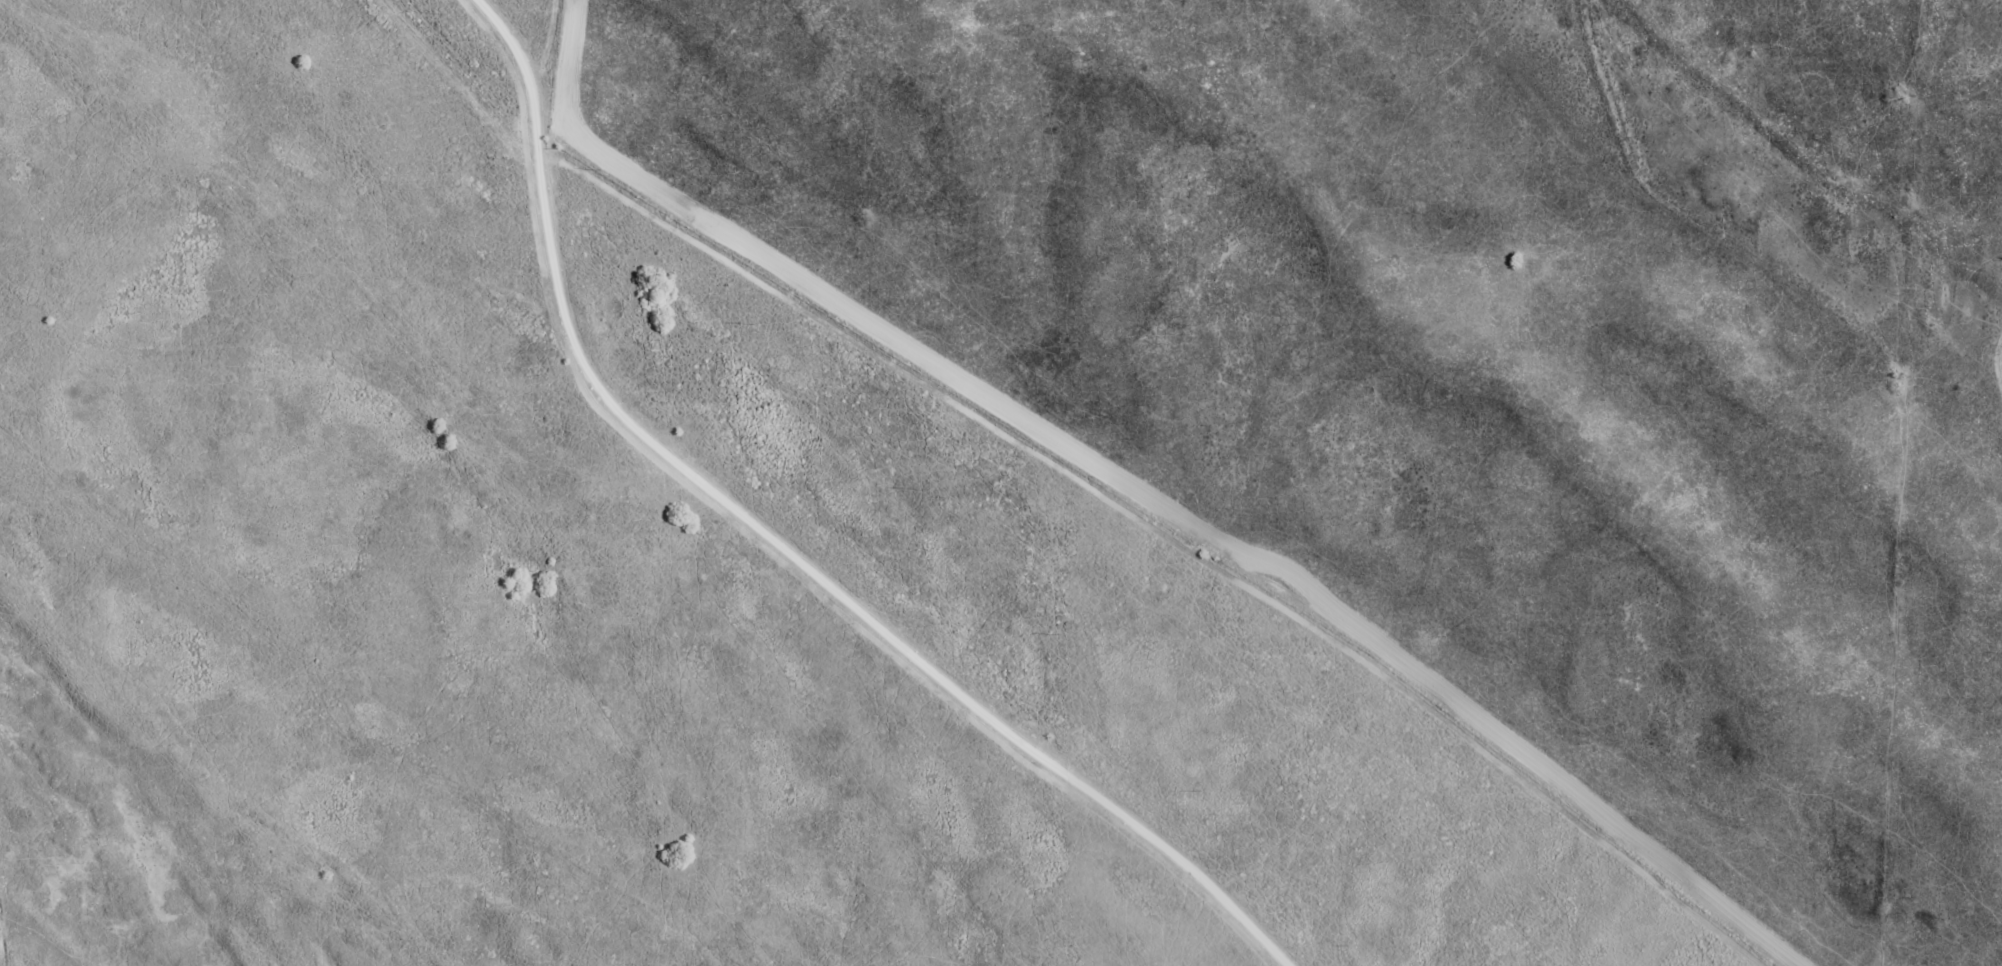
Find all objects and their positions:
road: (1906, 441)

